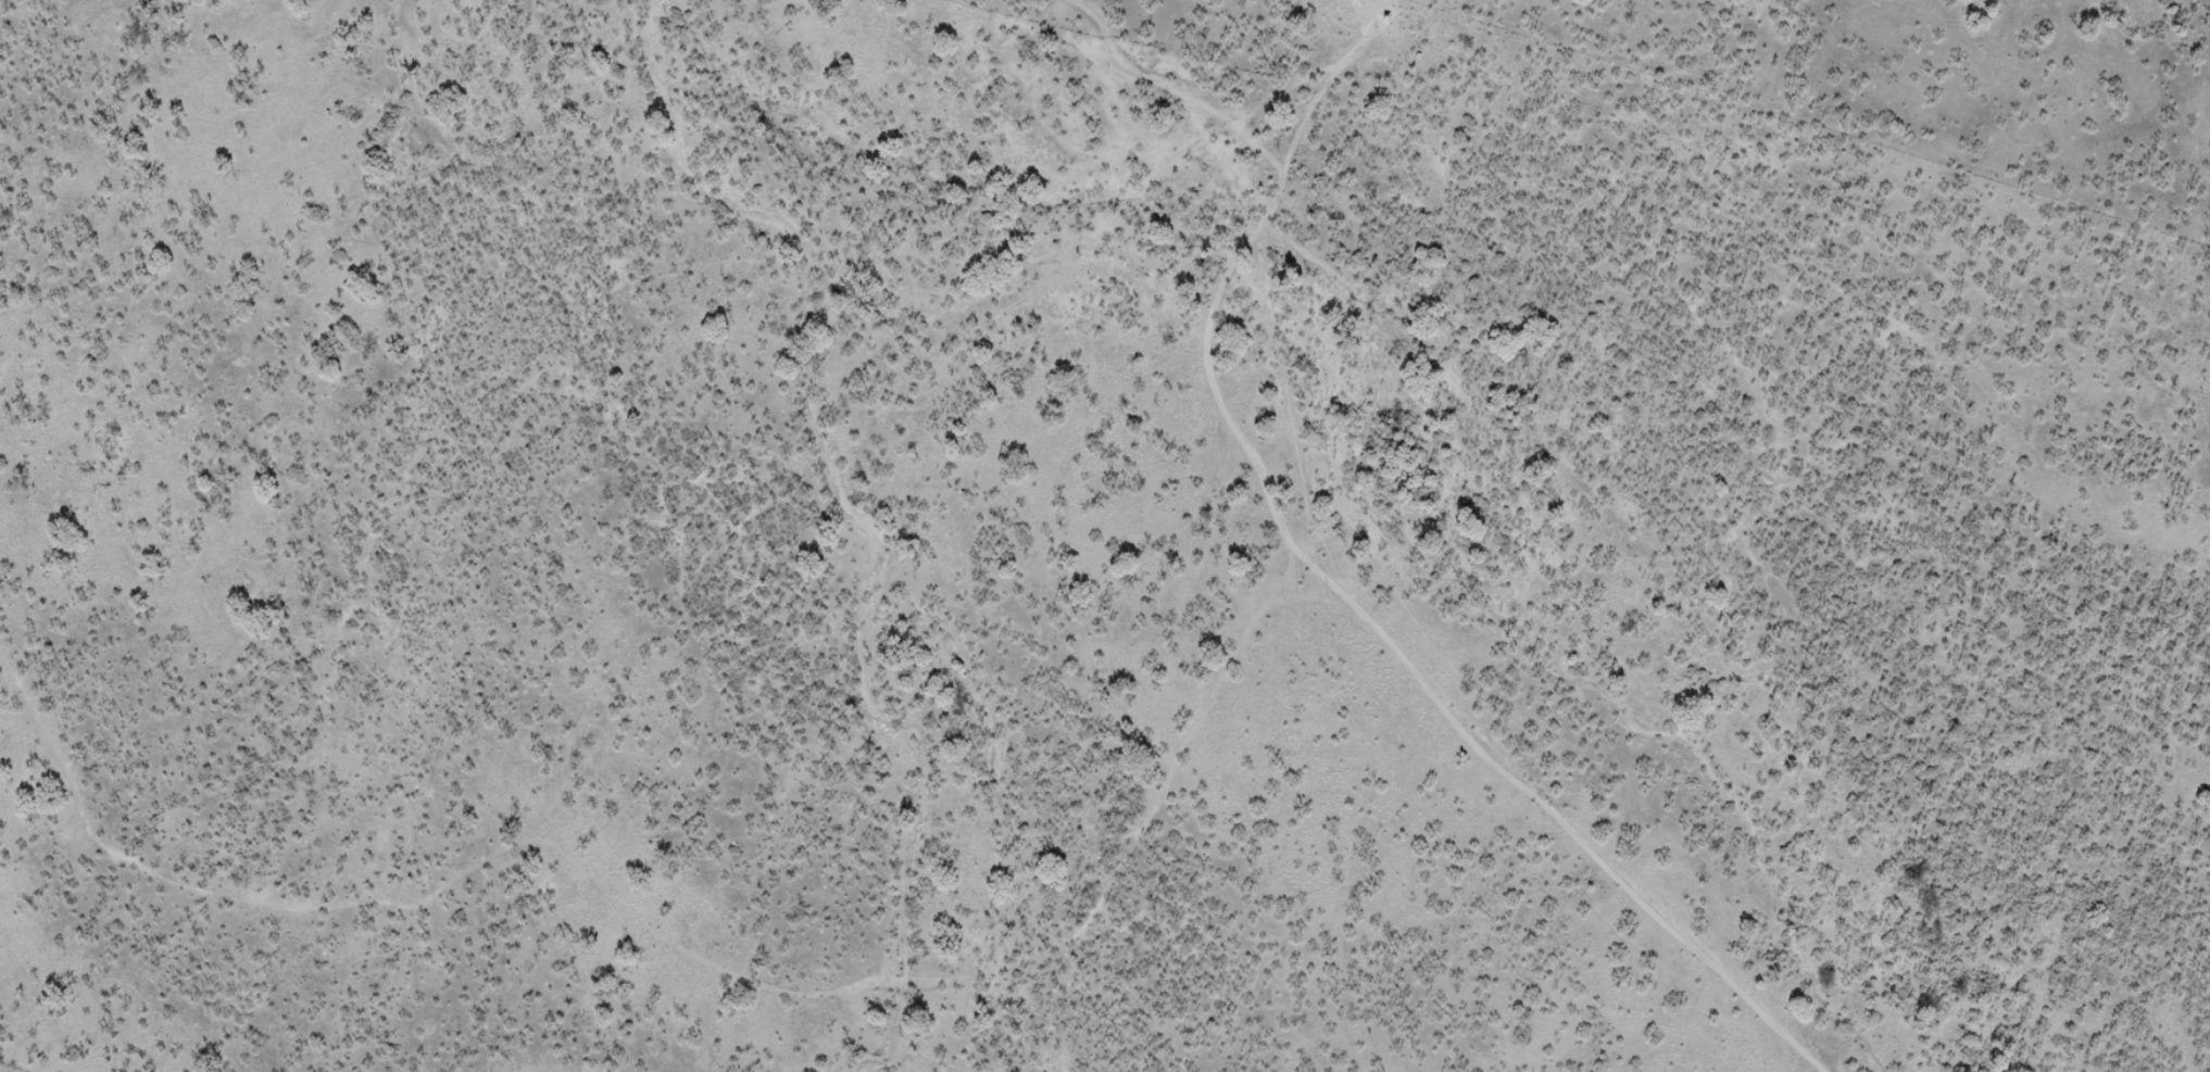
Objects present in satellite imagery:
road: (1373, 627)

